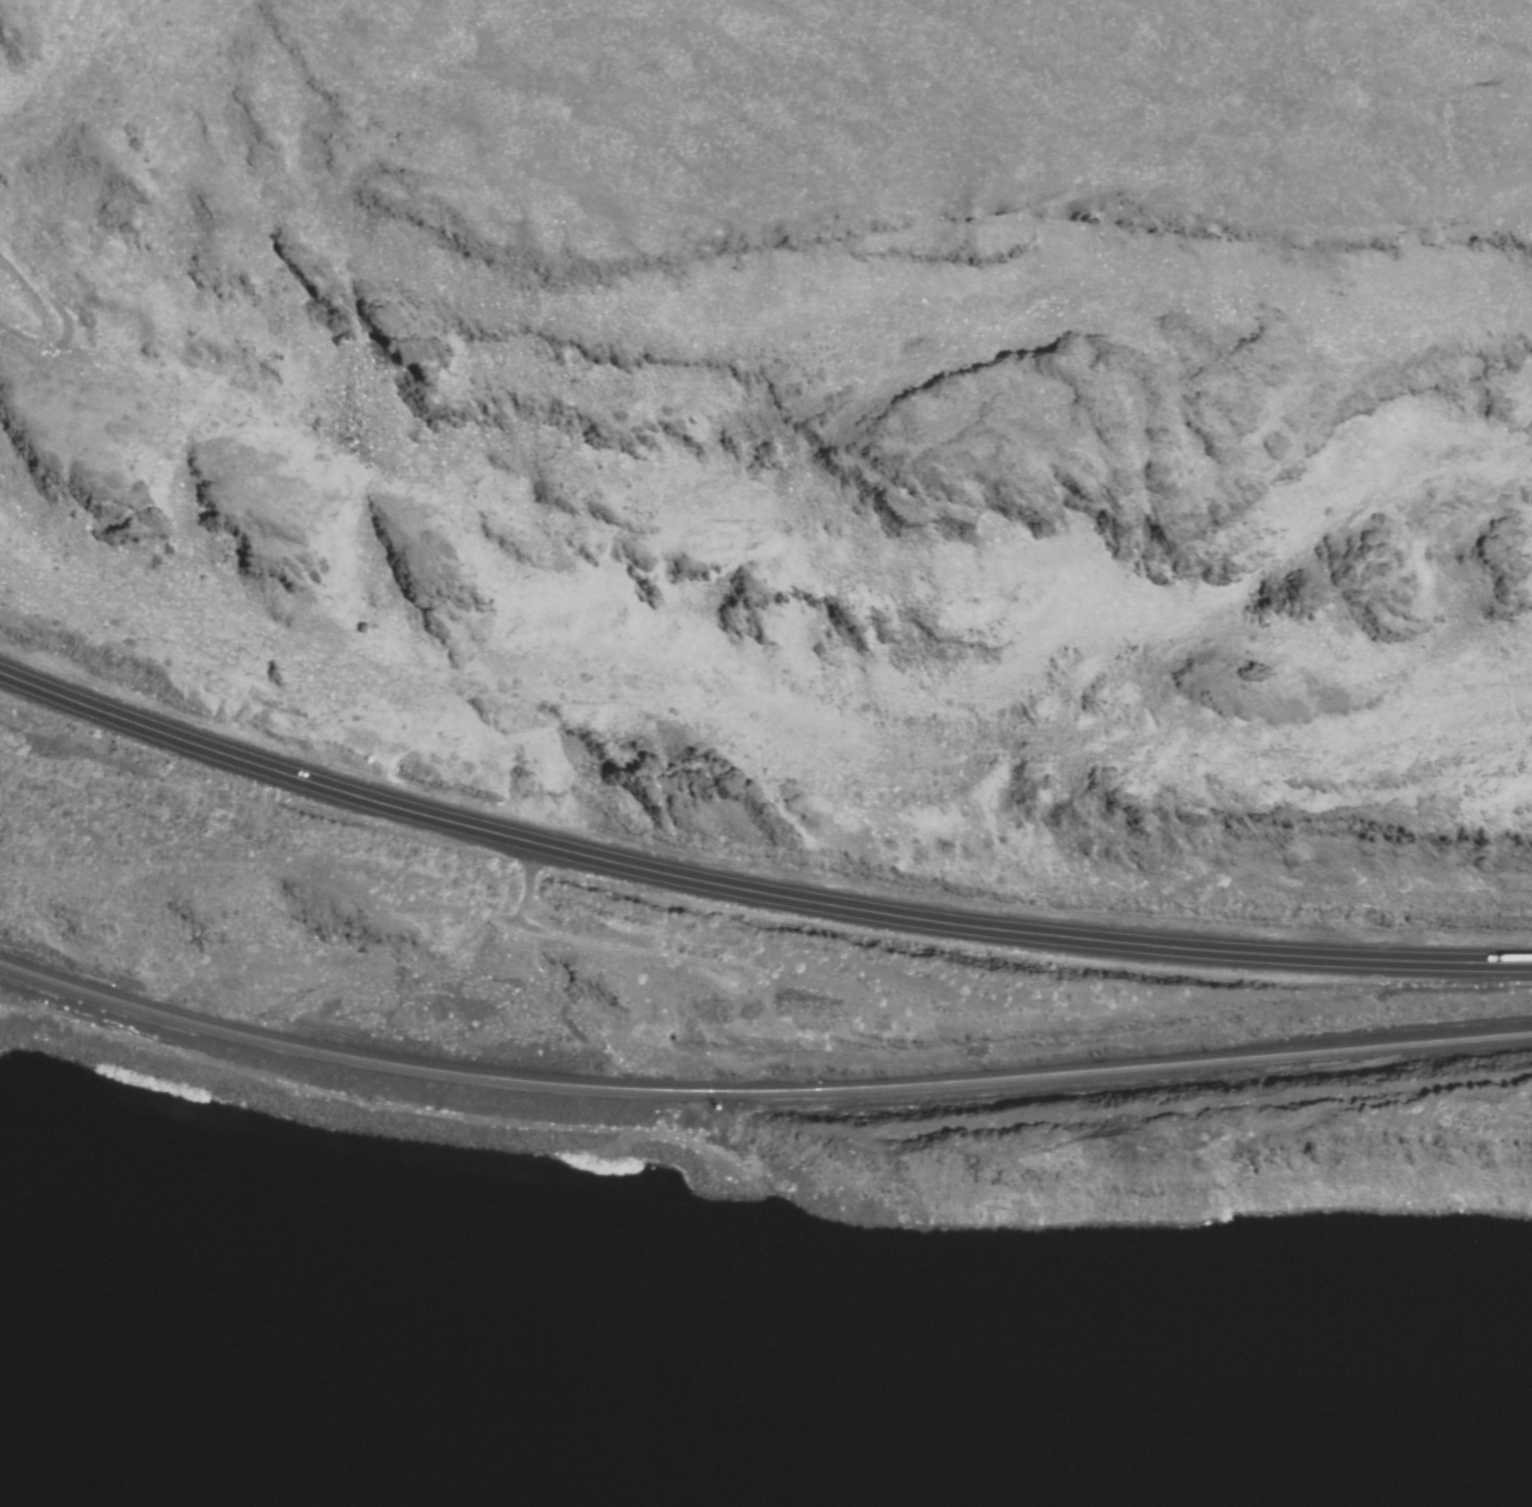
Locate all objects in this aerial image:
road: (64, 314)
road: (752, 892)
railway: (1268, 1056)
railway: (495, 1079)
road: (361, 1100)

